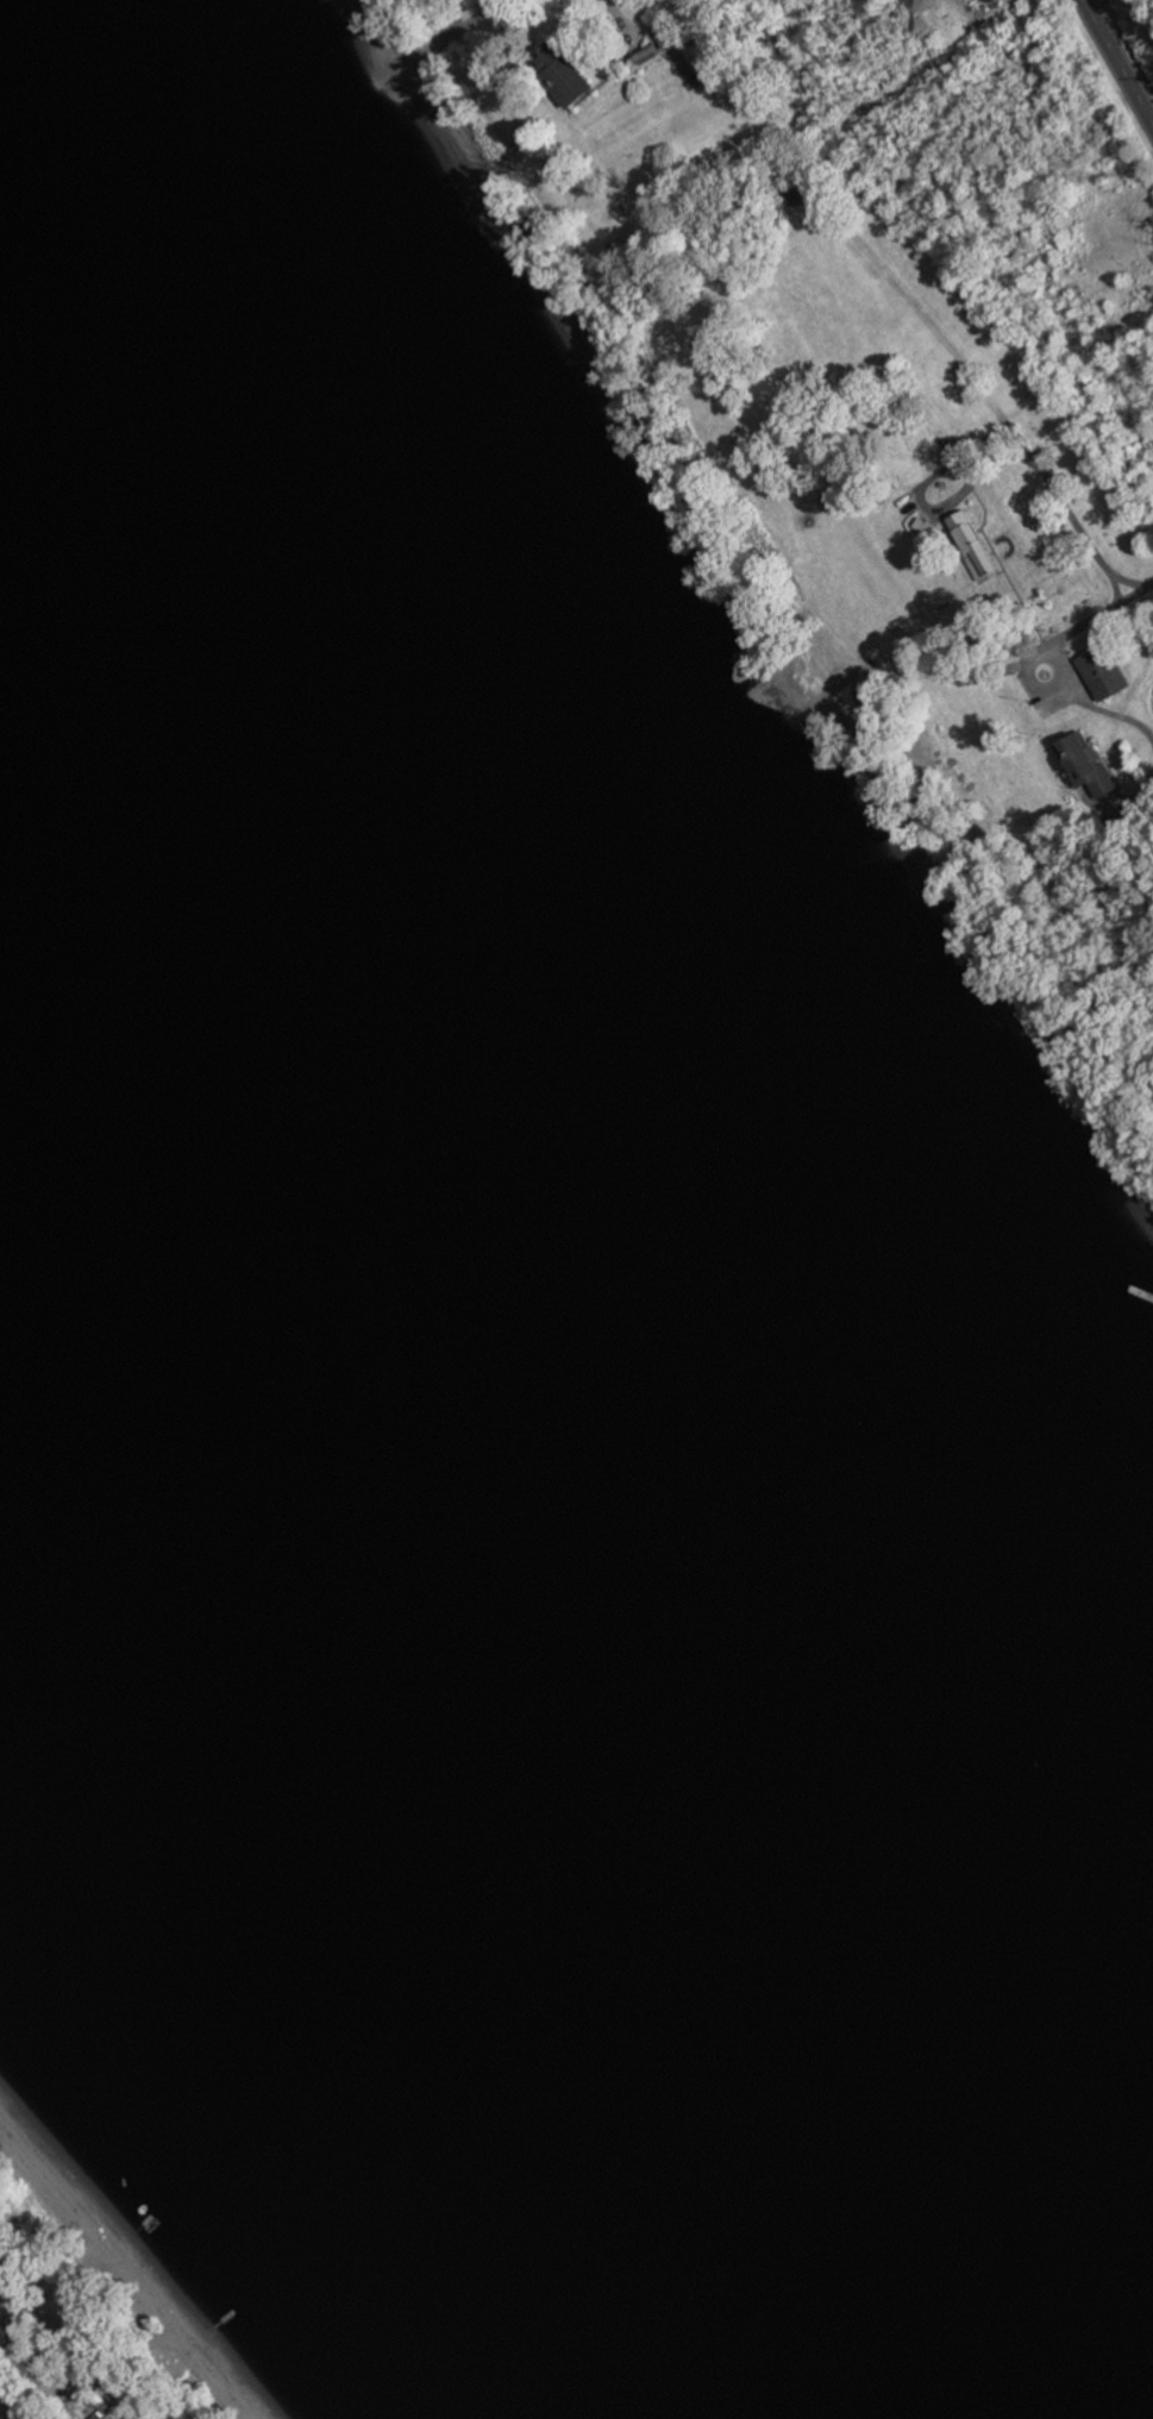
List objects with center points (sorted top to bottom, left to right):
building: (990, 0)
road: (621, 17)
building: (646, 55)
building: (700, 56)
road: (1115, 64)
building: (560, 73)
building: (800, 190)
road: (980, 384)
building: (922, 525)
building: (971, 543)
road: (1115, 574)
road: (1088, 618)
building: (1102, 671)
road: (1077, 698)
building: (1086, 763)
river: (547, 1797)
road: (19, 2395)

